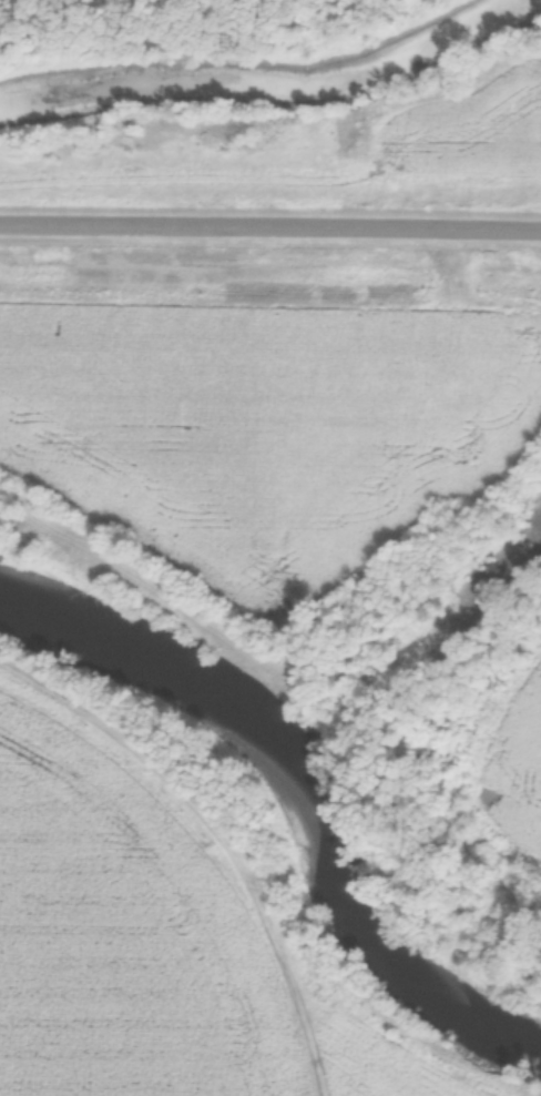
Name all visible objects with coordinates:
road: (269, 229)
river: (283, 804)

